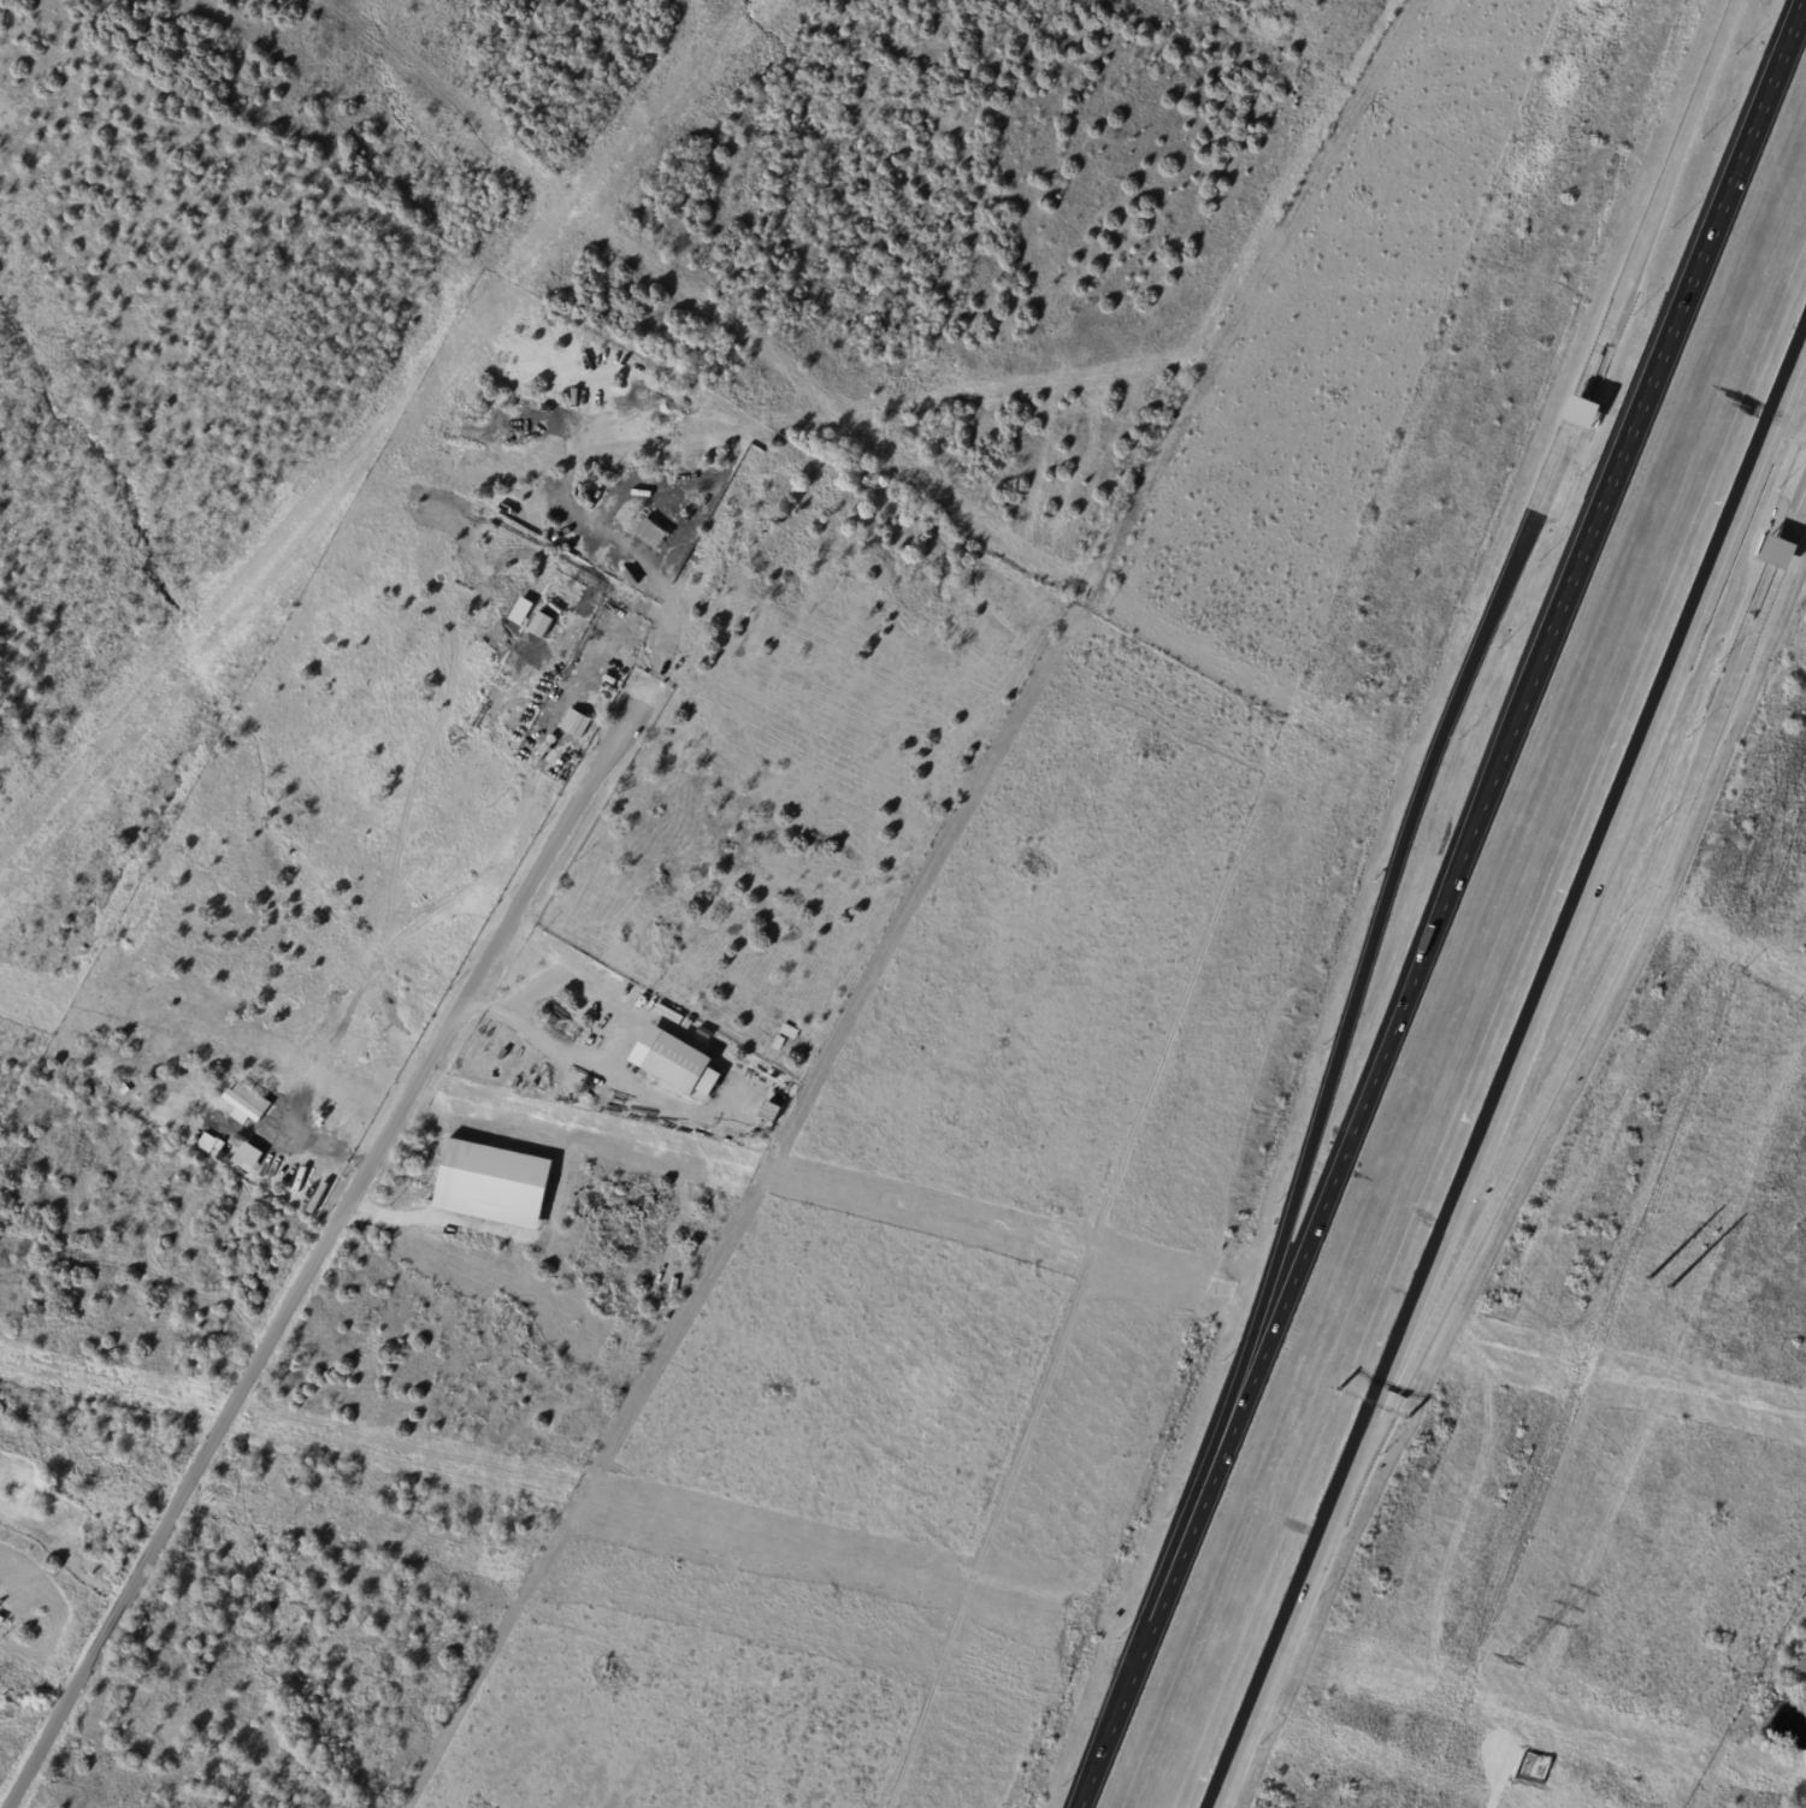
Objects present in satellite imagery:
road: (1660, 200)
road: (1571, 409)
building: (1580, 413)
road: (1547, 475)
parking lot: (1790, 491)
parking lot: (1553, 509)
road: (1798, 520)
building: (649, 532)
building: (1777, 553)
road: (1784, 555)
building: (520, 611)
building: (539, 625)
building: (574, 723)
road: (1588, 882)
road: (1442, 904)
road: (1599, 1011)
road: (1356, 1014)
road: (628, 1045)
building: (680, 1065)
building: (246, 1104)
building: (247, 1157)
building: (492, 1184)
road: (430, 1222)
road: (324, 1249)
power tower: (1660, 1284)
road: (1291, 1619)
power tower: (1507, 1667)
road: (1506, 1778)

